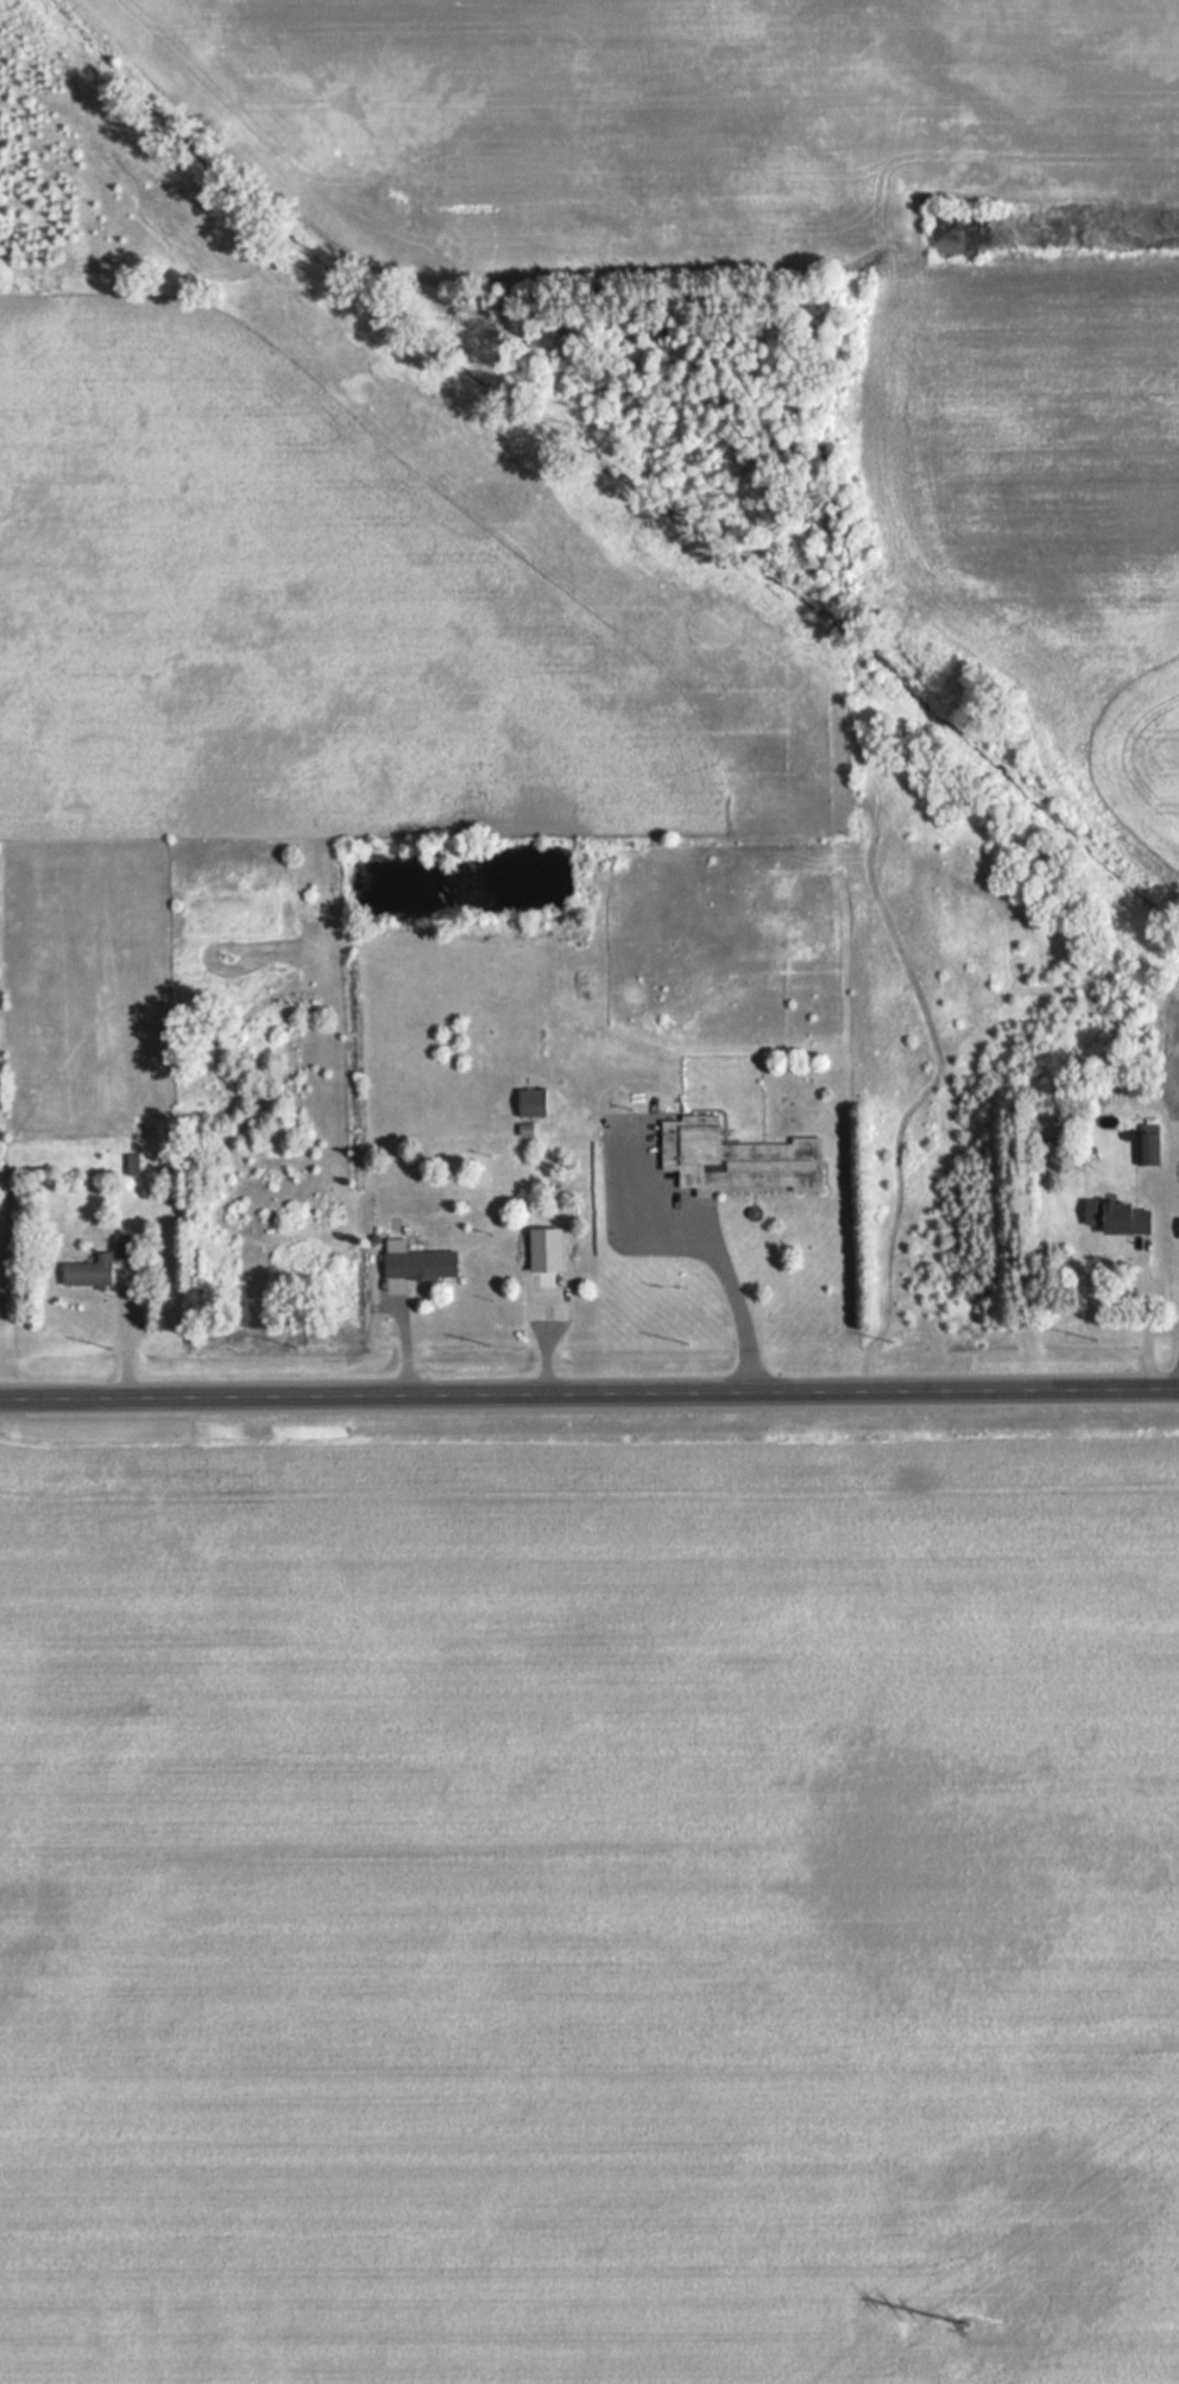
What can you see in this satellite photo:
building: (531, 1104)
building: (736, 1160)
building: (132, 1166)
building: (1116, 1218)
building: (1178, 1221)
building: (417, 1262)
building: (97, 1267)
road: (589, 1390)
power tower: (969, 2323)

